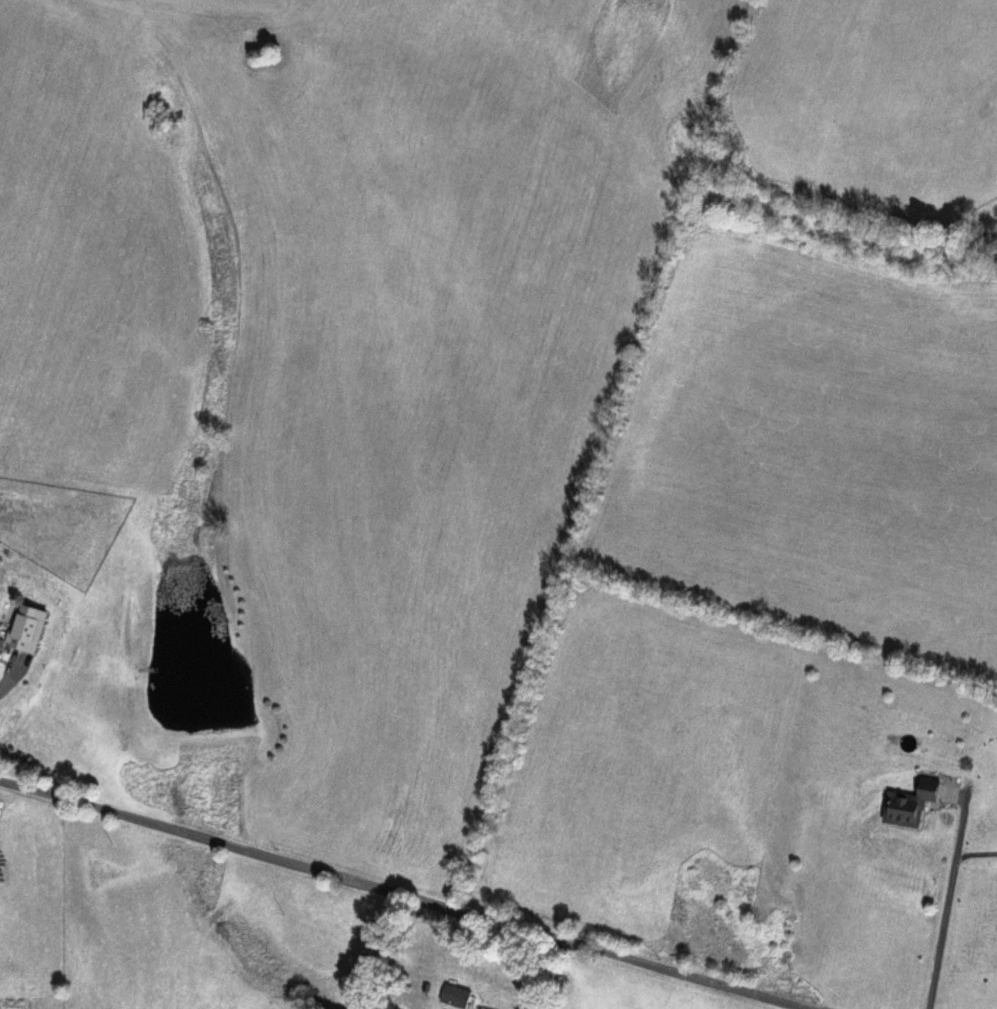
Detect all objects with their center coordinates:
building: (28, 630)
building: (910, 805)
road: (403, 895)
road: (948, 903)
road: (552, 975)
building: (455, 997)

